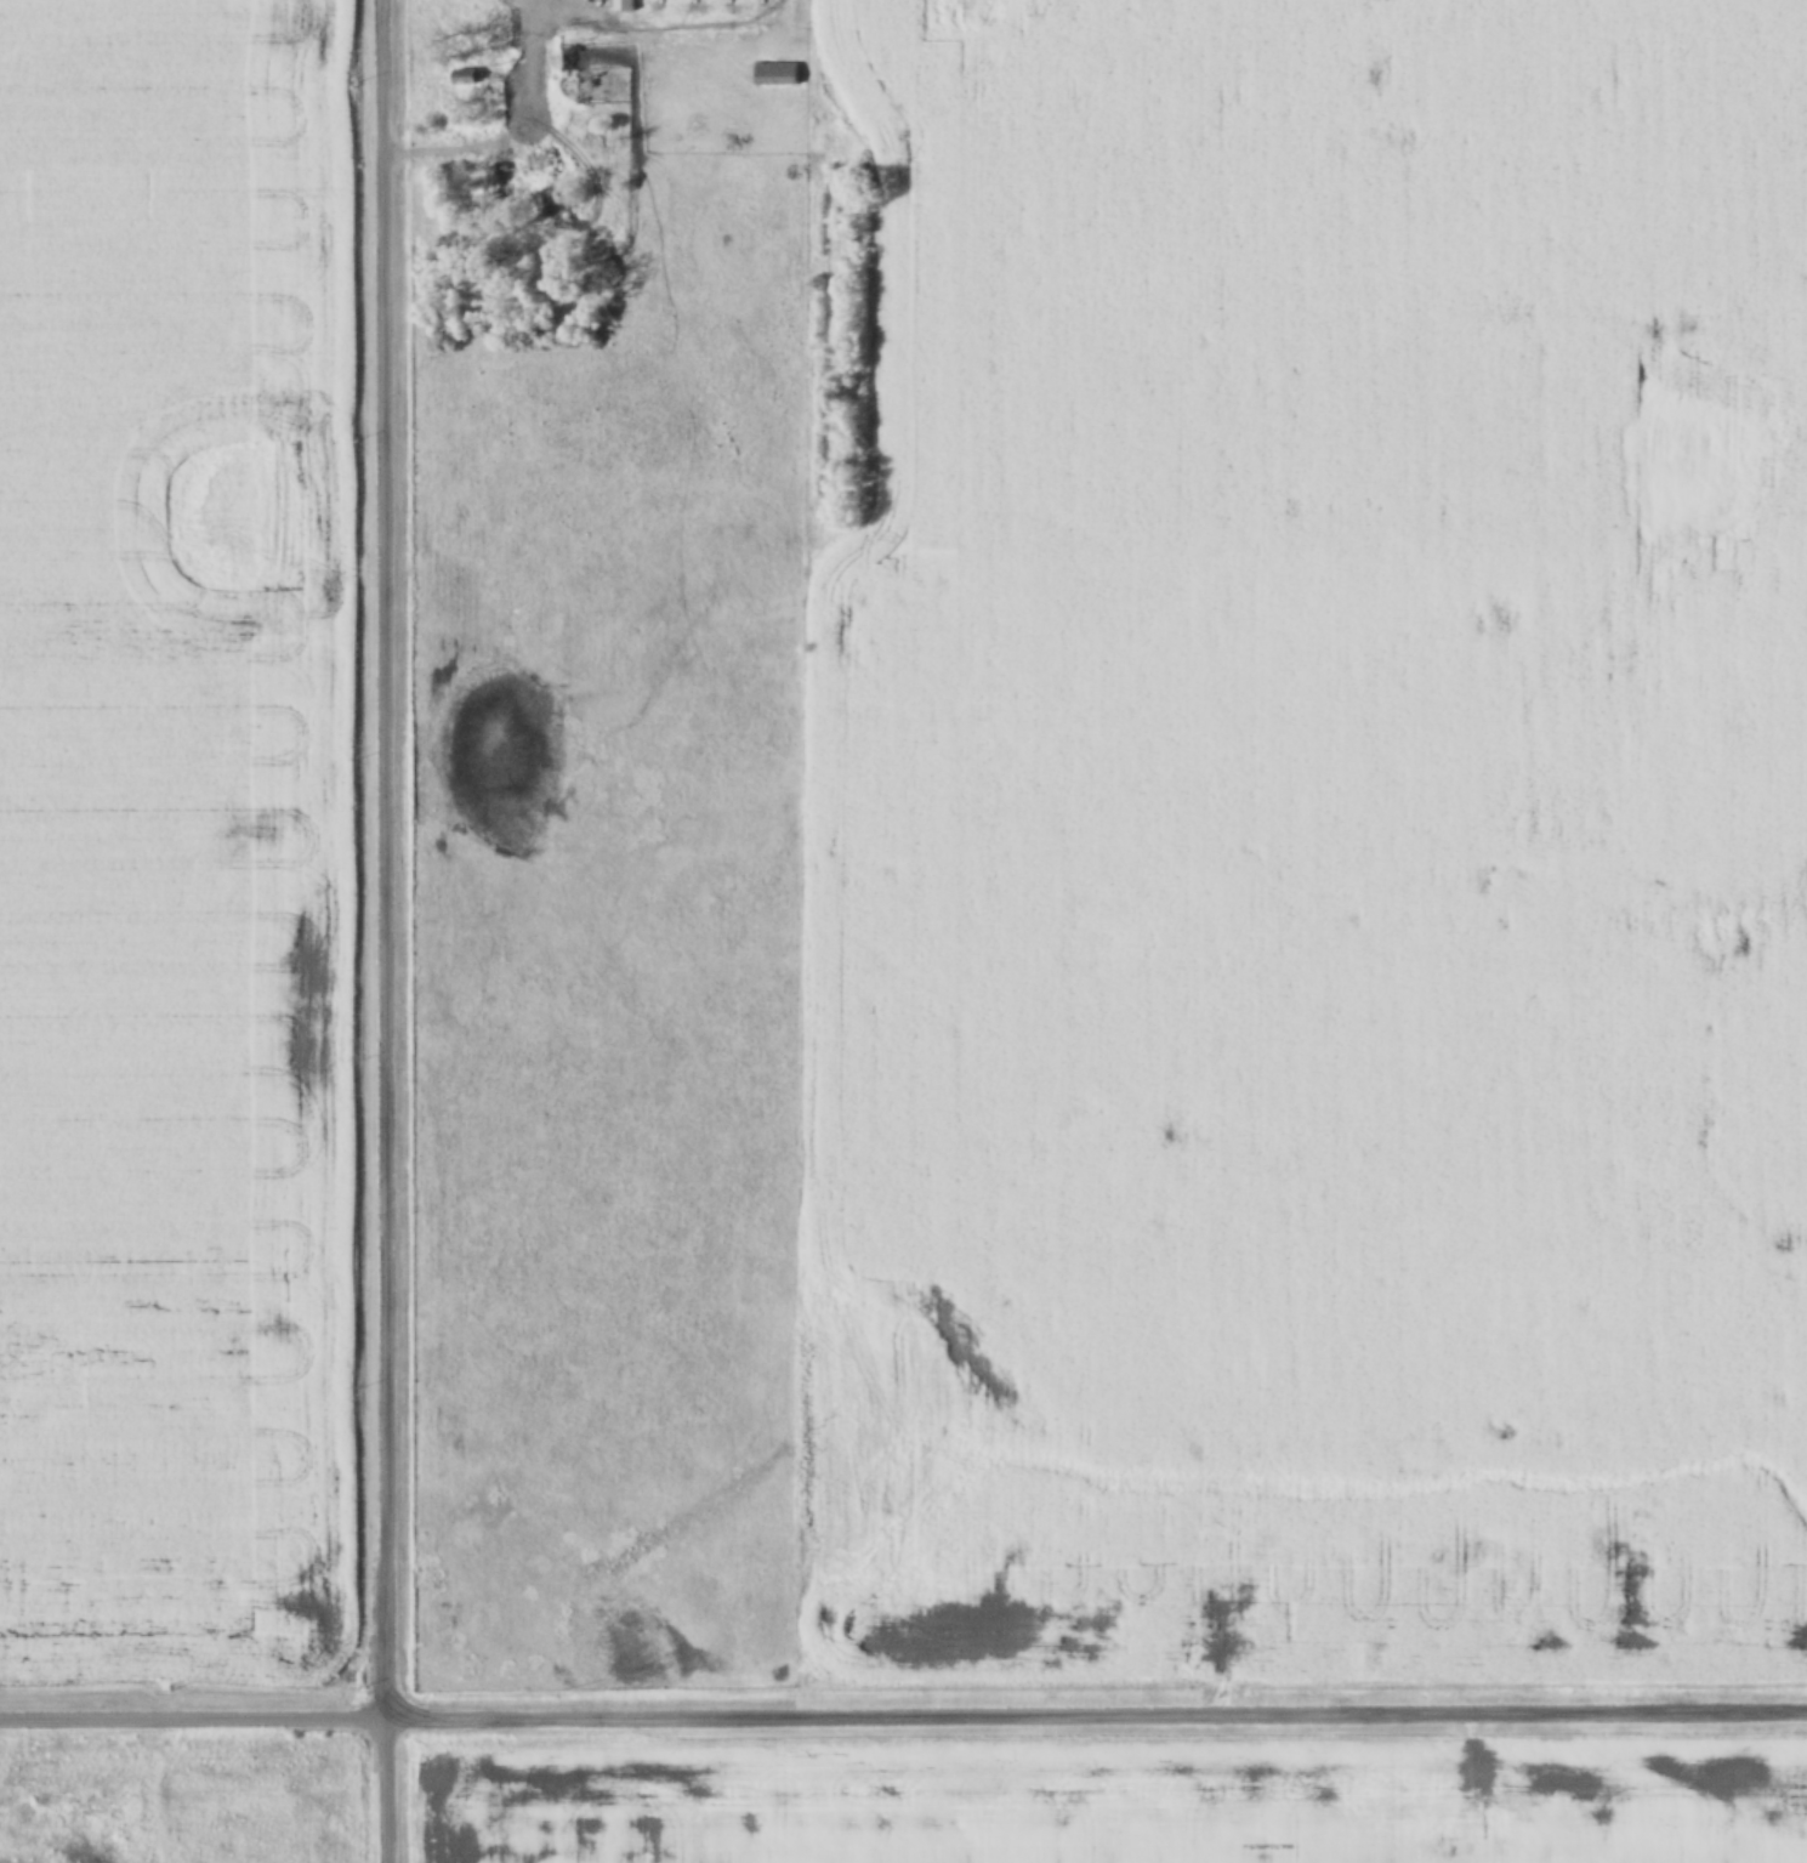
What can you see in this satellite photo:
building: (774, 75)
building: (459, 79)
road: (516, 132)
building: (499, 183)
road: (383, 931)
road: (903, 1713)

